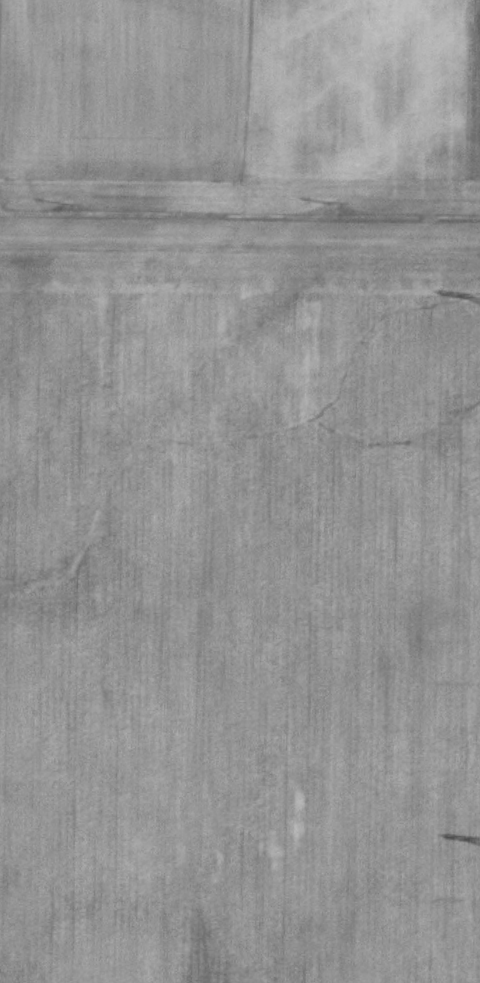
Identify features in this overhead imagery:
crop: (242, 88)
crop: (239, 618)

